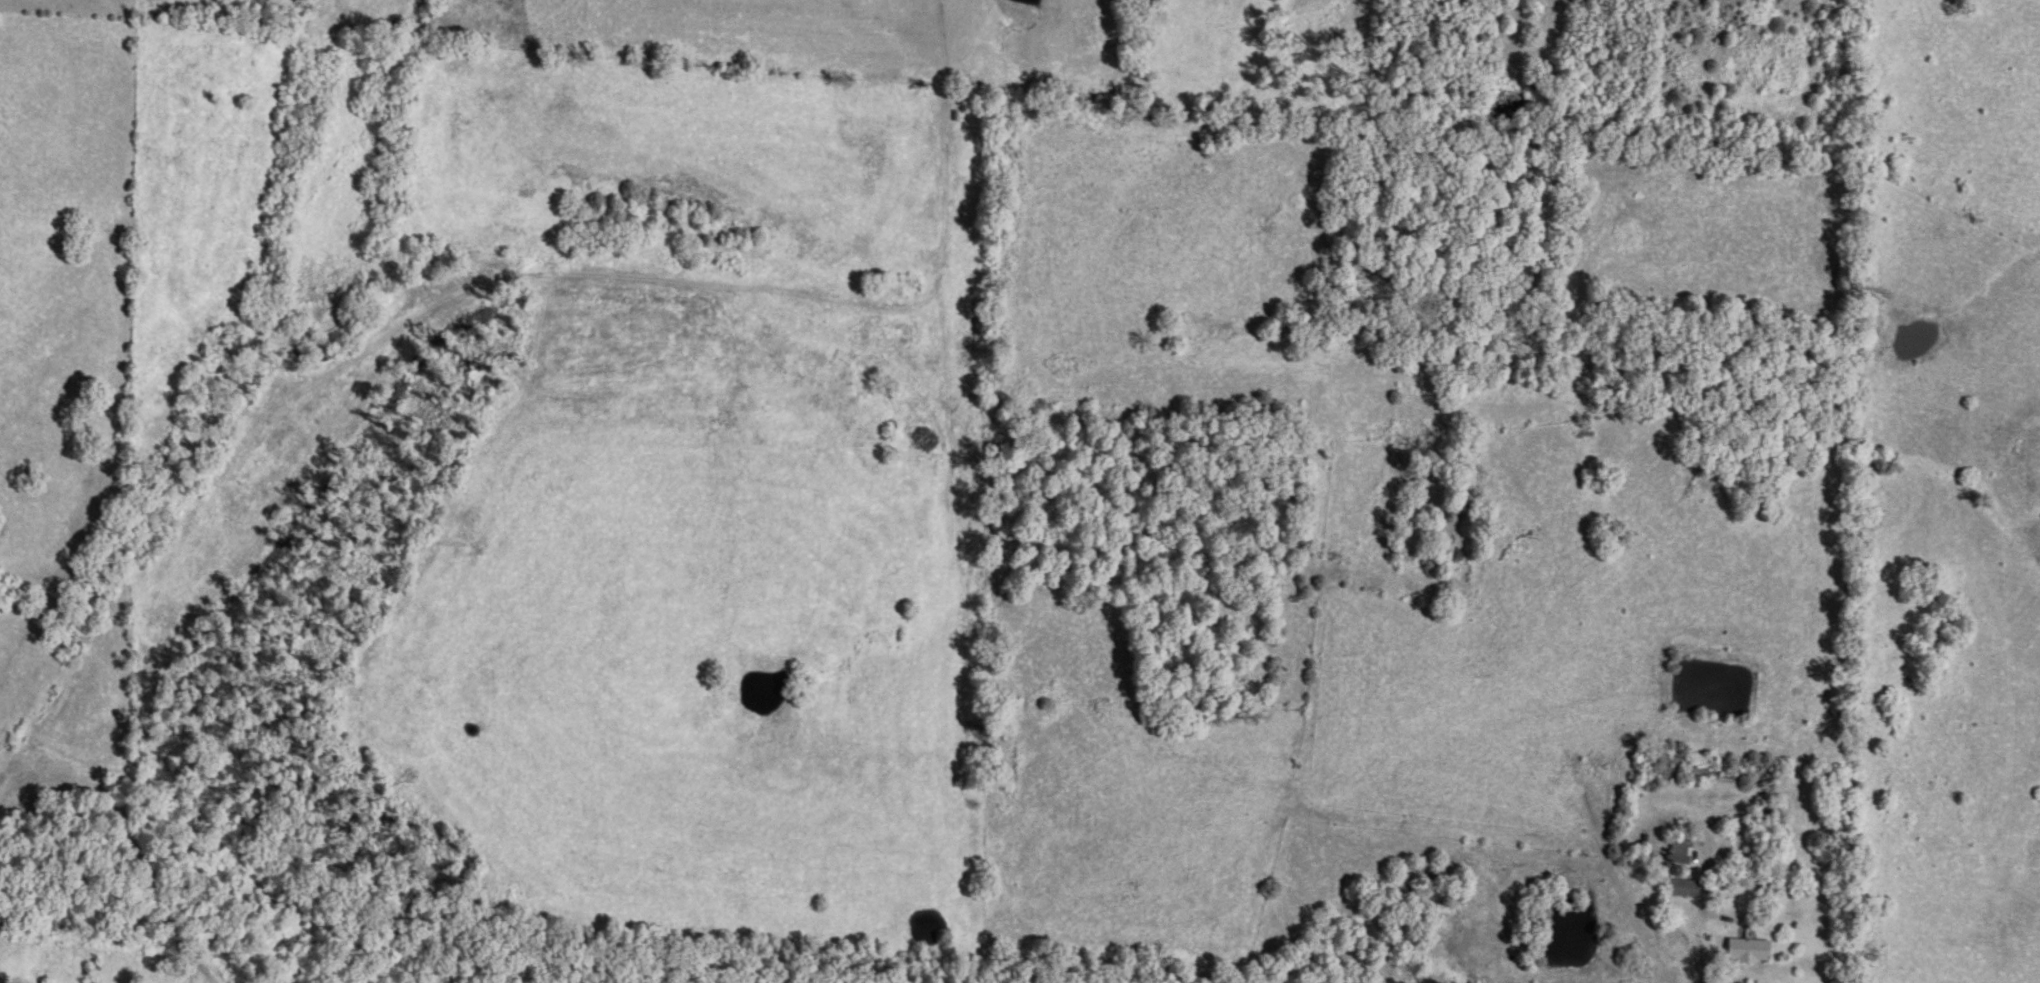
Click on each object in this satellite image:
building: (1675, 852)
building: (1677, 886)
building: (1742, 948)

